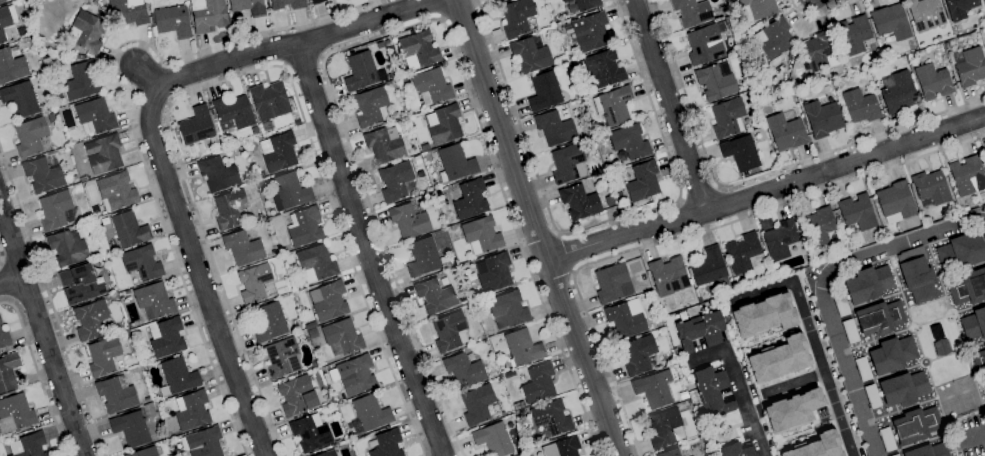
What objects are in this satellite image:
building: (12, 0)
building: (2, 1)
building: (317, 1)
building: (496, 1)
building: (565, 1)
building: (984, 1)
building: (18, 3)
building: (286, 4)
building: (586, 4)
building: (248, 7)
building: (757, 9)
building: (961, 9)
road: (437, 10)
building: (128, 12)
building: (691, 12)
building: (925, 14)
building: (208, 15)
road: (821, 15)
building: (517, 17)
building: (172, 22)
building: (891, 22)
building: (4, 23)
road: (401, 29)
building: (21, 31)
building: (954, 31)
building: (983, 31)
building: (86, 32)
building: (588, 32)
building: (853, 35)
building: (774, 38)
building: (386, 43)
building: (380, 45)
building: (704, 45)
road: (280, 46)
building: (418, 50)
building: (819, 52)
building: (530, 55)
building: (77, 57)
building: (562, 60)
road: (303, 62)
building: (775, 62)
building: (47, 64)
building: (11, 67)
building: (970, 67)
building: (603, 69)
building: (361, 71)
road: (244, 74)
building: (402, 79)
building: (80, 81)
building: (913, 81)
building: (932, 81)
building: (388, 83)
building: (715, 83)
building: (431, 87)
building: (544, 92)
building: (898, 92)
building: (20, 99)
building: (269, 101)
building: (613, 106)
road: (668, 106)
building: (860, 106)
building: (370, 107)
building: (232, 113)
building: (94, 116)
road: (132, 117)
building: (51, 118)
building: (727, 118)
building: (822, 118)
building: (296, 121)
building: (444, 124)
building: (196, 126)
building: (267, 126)
building: (554, 128)
building: (255, 131)
building: (785, 132)
building: (30, 137)
building: (629, 141)
building: (384, 145)
building: (425, 148)
building: (432, 148)
building: (278, 152)
building: (984, 152)
building: (51, 153)
building: (741, 153)
building: (103, 154)
building: (455, 163)
building: (568, 163)
building: (217, 174)
building: (43, 175)
road: (758, 176)
building: (967, 176)
building: (74, 179)
building: (83, 179)
building: (642, 181)
building: (396, 182)
building: (77, 187)
building: (930, 189)
road: (766, 190)
building: (117, 191)
building: (289, 192)
road: (699, 193)
building: (956, 196)
building: (470, 200)
building: (609, 201)
building: (579, 202)
building: (895, 202)
building: (230, 209)
building: (983, 209)
building: (57, 211)
building: (95, 211)
building: (103, 212)
building: (857, 212)
building: (409, 220)
building: (96, 222)
road: (601, 223)
building: (818, 226)
building: (304, 227)
building: (453, 228)
road: (535, 228)
building: (128, 229)
building: (481, 235)
road: (687, 236)
building: (780, 240)
building: (68, 247)
building: (242, 248)
road: (366, 250)
building: (961, 252)
road: (566, 253)
building: (743, 254)
building: (424, 258)
building: (317, 261)
building: (142, 262)
building: (462, 266)
building: (708, 267)
road: (198, 273)
building: (494, 273)
building: (916, 275)
building: (642, 276)
building: (668, 276)
building: (471, 277)
building: (735, 280)
road: (11, 281)
building: (256, 283)
building: (80, 284)
building: (612, 284)
building: (867, 284)
road: (825, 285)
building: (737, 286)
road: (5, 287)
building: (968, 287)
road: (942, 289)
building: (127, 292)
building: (435, 296)
building: (465, 299)
road: (51, 301)
building: (153, 301)
building: (328, 301)
road: (903, 302)
building: (841, 305)
building: (470, 307)
building: (507, 309)
building: (473, 313)
building: (762, 315)
building: (879, 318)
building: (90, 320)
building: (624, 321)
building: (0, 322)
building: (269, 322)
building: (657, 322)
building: (727, 323)
building: (131, 325)
building: (974, 325)
building: (310, 326)
road: (912, 326)
building: (700, 331)
building: (850, 331)
road: (40, 332)
building: (449, 332)
building: (127, 333)
building: (301, 334)
building: (166, 337)
building: (342, 337)
road: (810, 338)
building: (4, 340)
road: (976, 344)
building: (941, 347)
building: (984, 347)
building: (522, 348)
building: (676, 352)
road: (960, 354)
building: (639, 355)
building: (892, 355)
building: (103, 356)
road: (943, 356)
building: (282, 358)
building: (777, 359)
building: (979, 362)
road: (920, 366)
building: (863, 369)
building: (8, 370)
building: (463, 371)
road: (38, 373)
building: (354, 375)
road: (886, 375)
building: (177, 377)
building: (538, 383)
road: (793, 383)
road: (974, 383)
road: (739, 385)
building: (654, 389)
building: (903, 389)
building: (984, 391)
building: (710, 392)
building: (116, 393)
building: (296, 396)
building: (872, 396)
building: (477, 404)
building: (791, 410)
building: (192, 411)
road: (941, 411)
building: (491, 412)
building: (15, 414)
building: (503, 414)
building: (369, 415)
building: (550, 419)
building: (916, 425)
building: (130, 428)
building: (664, 428)
building: (310, 433)
parking lot: (969, 435)
road: (971, 436)
building: (493, 439)
building: (887, 440)
building: (337, 441)
building: (203, 442)
building: (386, 444)
building: (32, 445)
building: (816, 446)
building: (562, 447)
building: (735, 450)
building: (928, 451)
building: (143, 452)
building: (328, 453)
building: (670, 453)
building: (896, 455)

